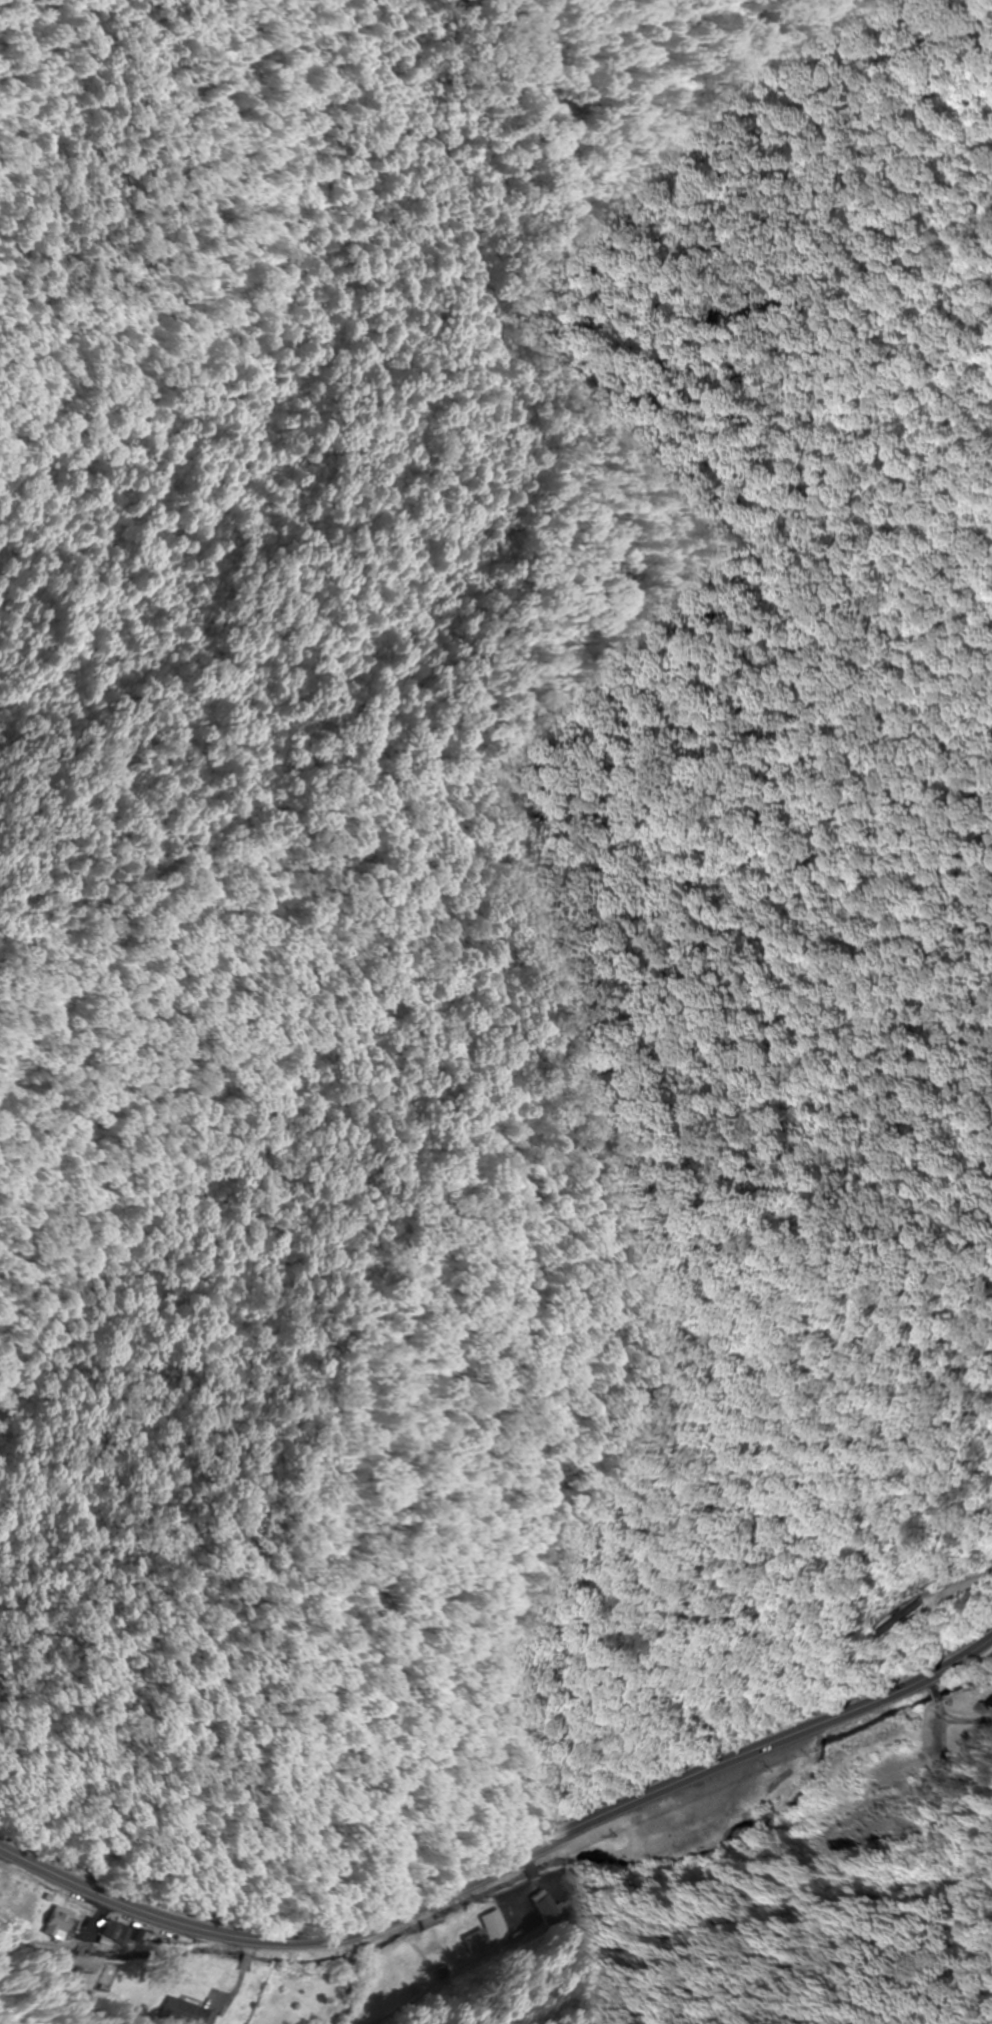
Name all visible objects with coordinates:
building: (909, 1619)
road: (504, 1864)
building: (566, 1904)
building: (538, 1906)
building: (54, 1922)
building: (110, 1933)
building: (187, 2014)

